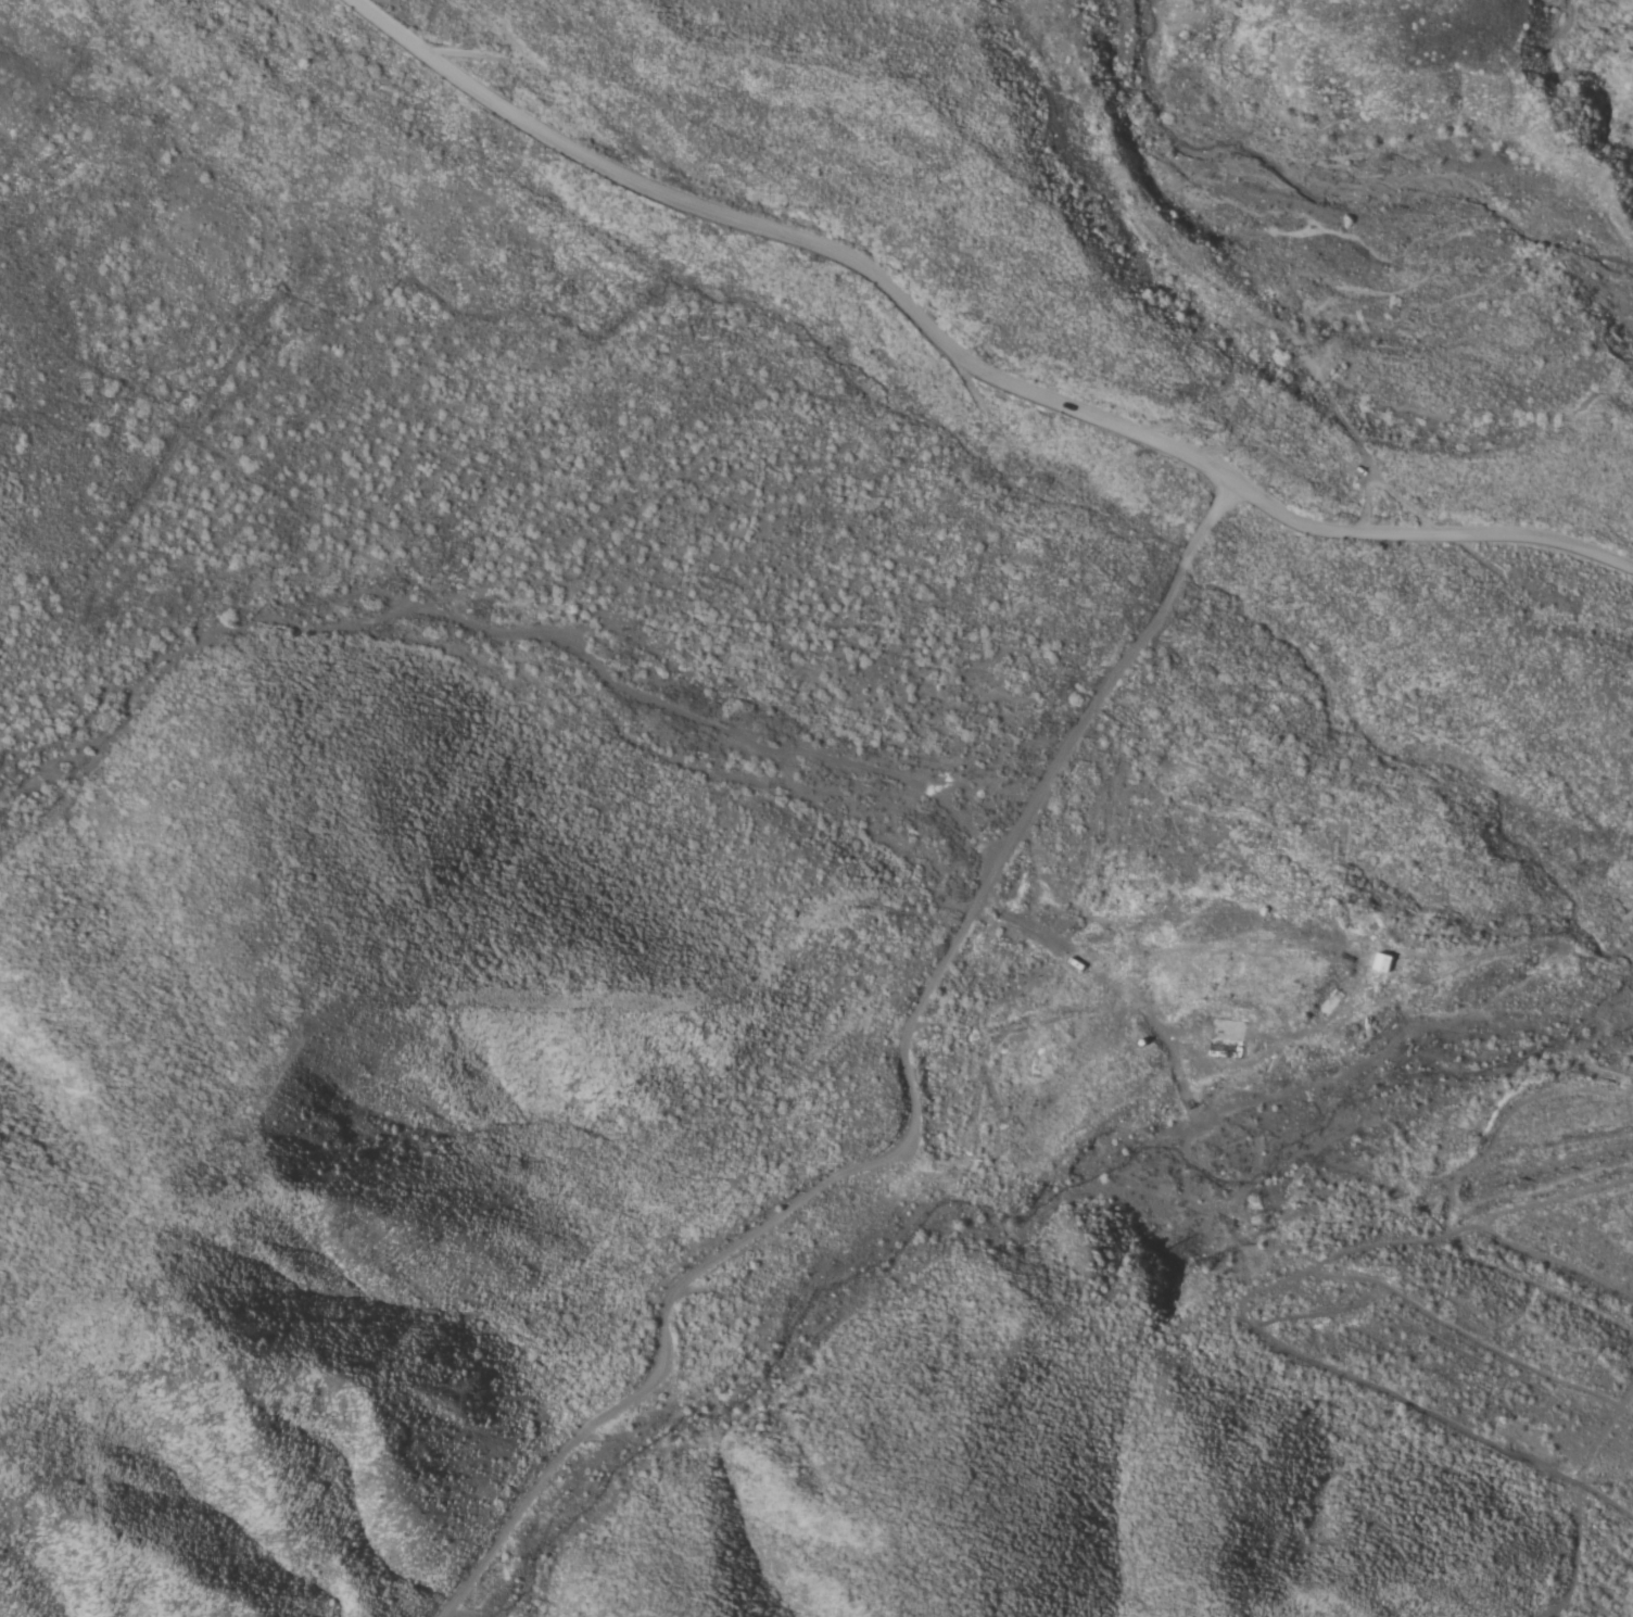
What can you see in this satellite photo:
road: (962, 358)
road: (1309, 1028)
road: (910, 1114)

